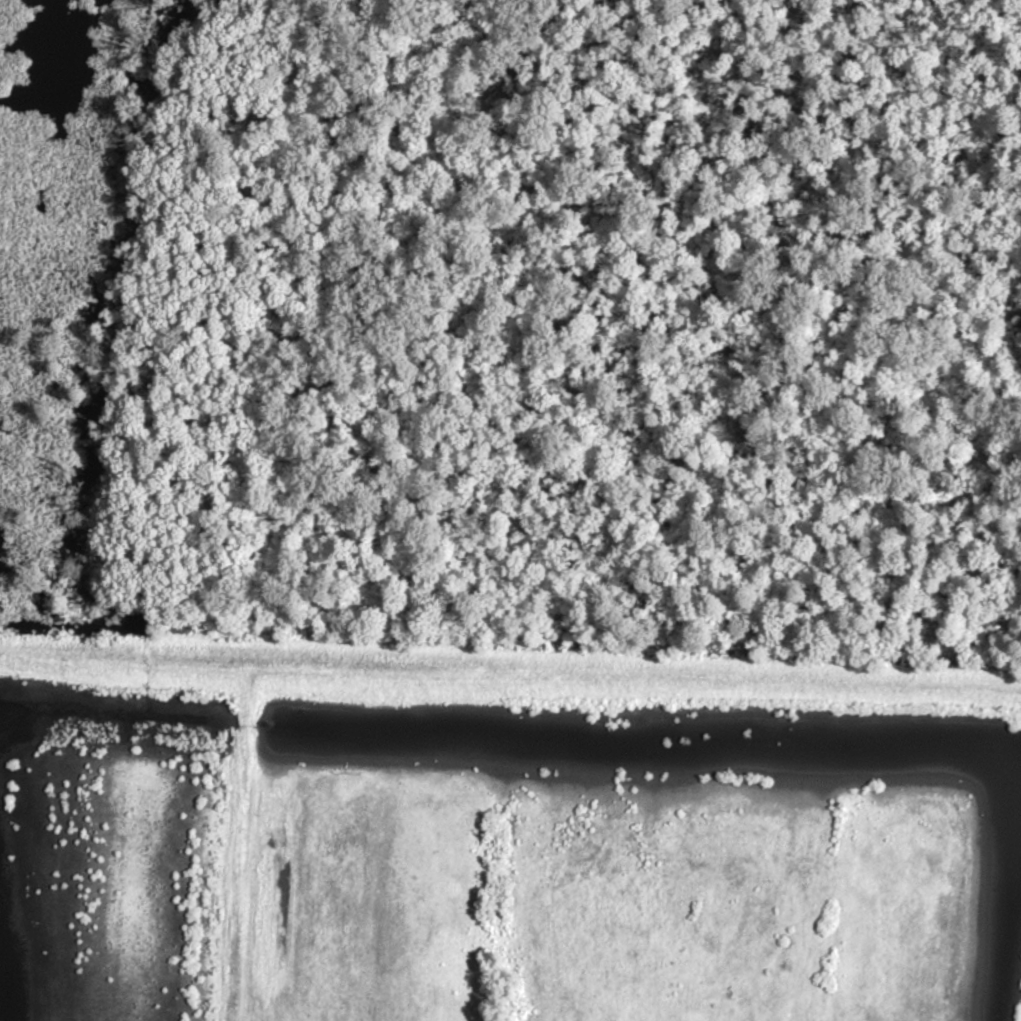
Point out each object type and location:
road: (125, 657)
road: (635, 675)
road: (239, 841)

